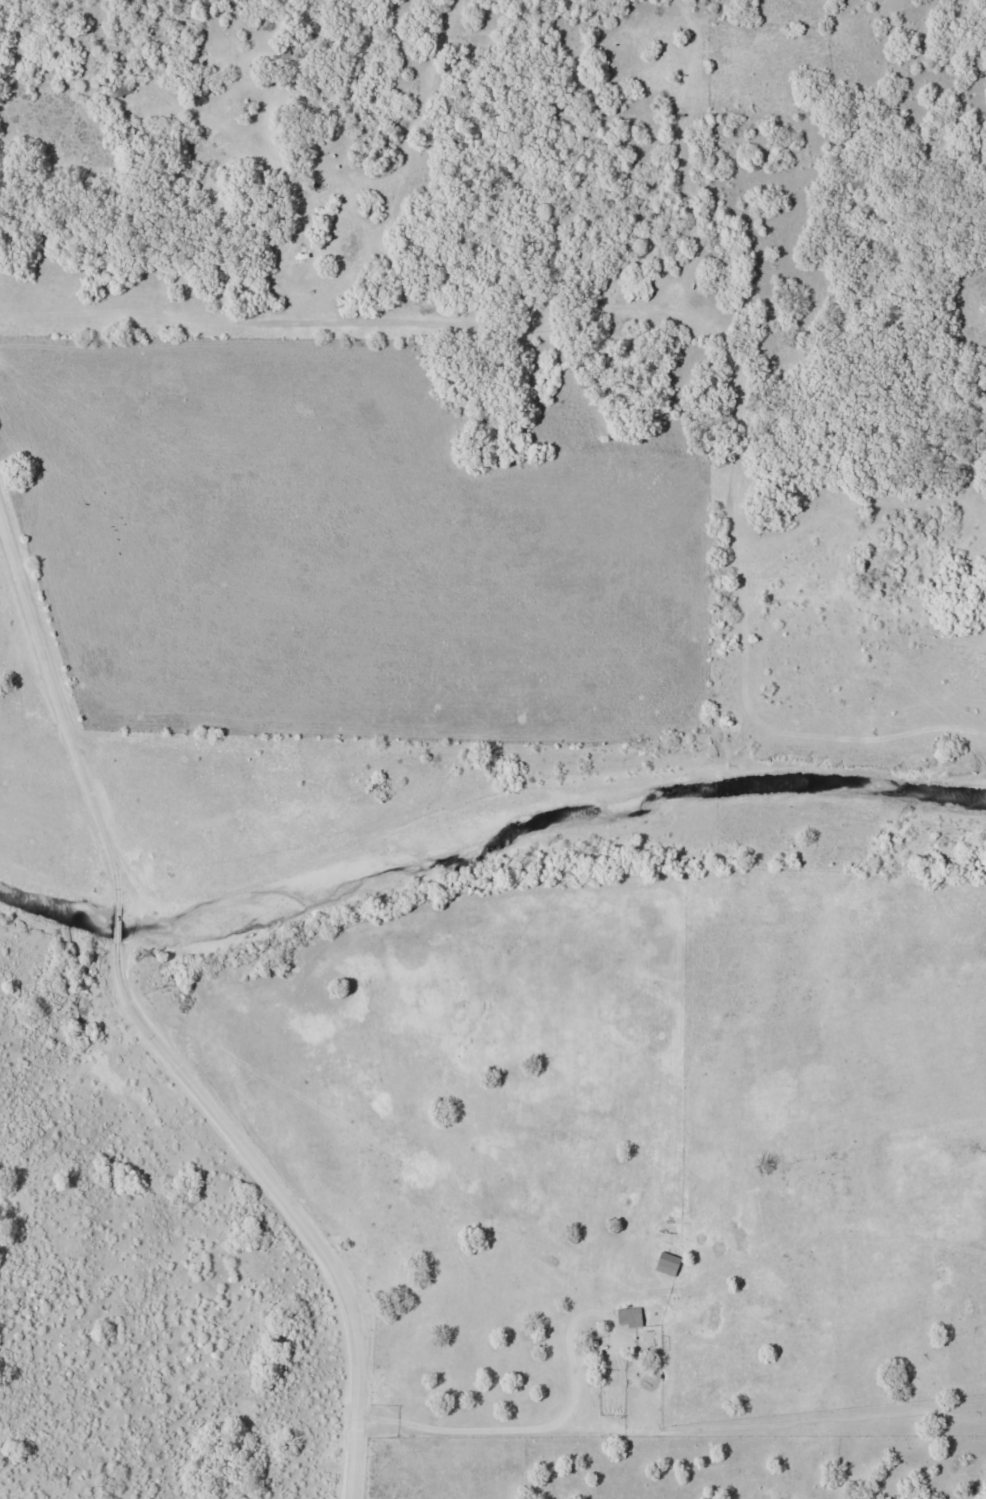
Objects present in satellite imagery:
road: (62, 690)
road: (124, 919)
road: (295, 1204)
building: (669, 1263)
building: (631, 1316)

